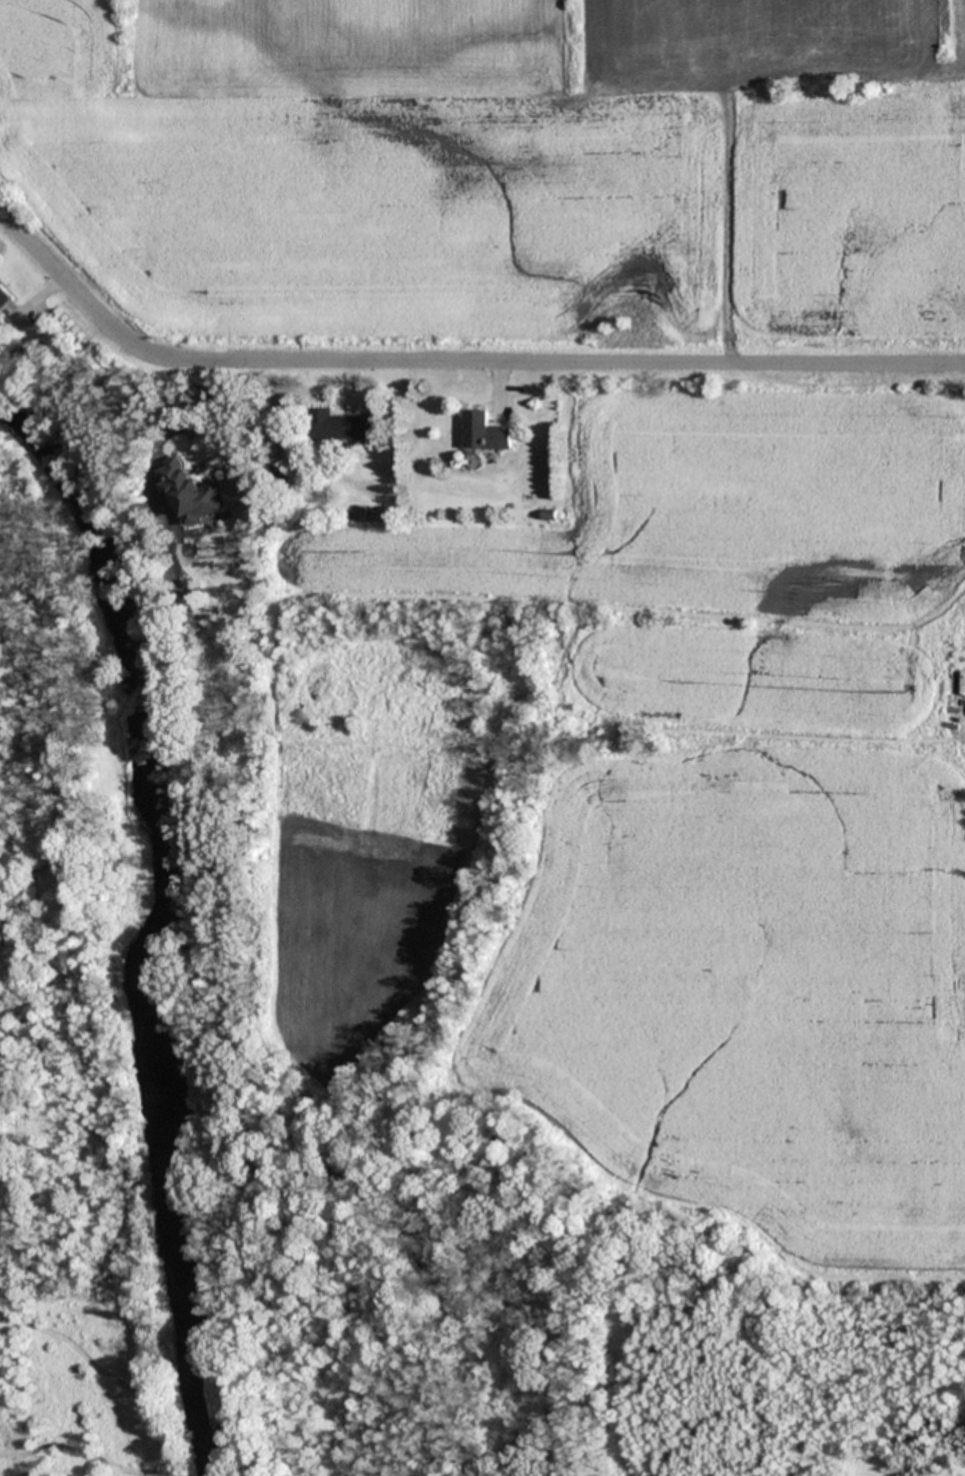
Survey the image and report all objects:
crop: (548, 265)
building: (3, 298)
road: (454, 362)
building: (343, 427)
building: (485, 432)
building: (192, 495)
building: (549, 517)
river: (140, 934)

